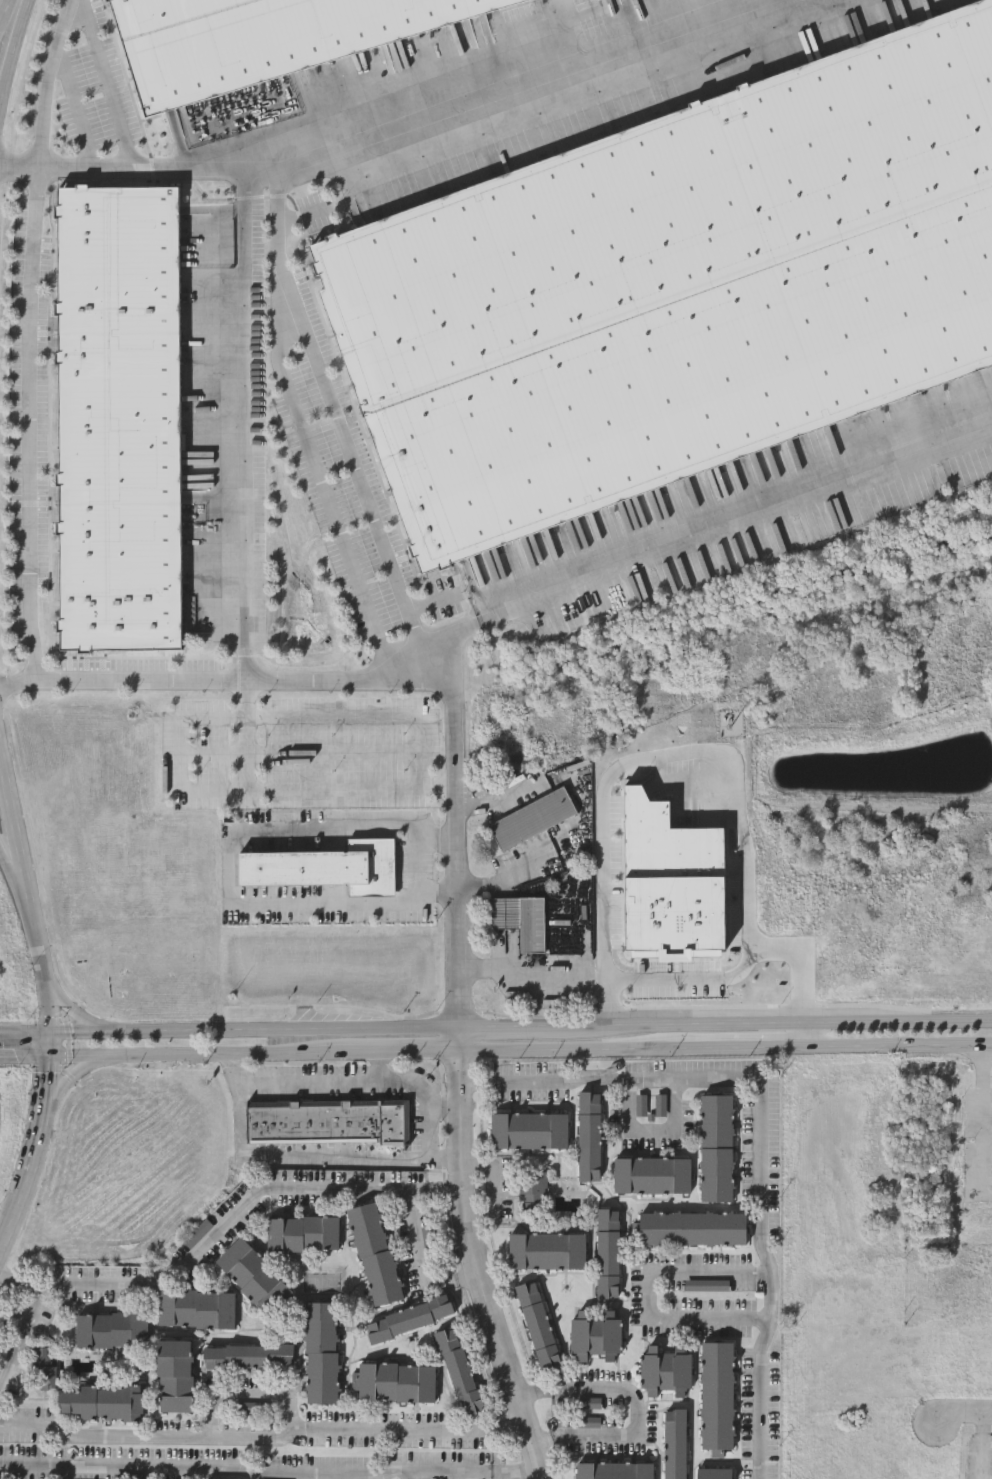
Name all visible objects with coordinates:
road: (752, 3)
road: (8, 17)
building: (260, 38)
road: (14, 53)
road: (105, 84)
road: (77, 111)
road: (393, 124)
building: (677, 286)
road: (333, 409)
building: (119, 417)
road: (243, 425)
road: (322, 485)
road: (223, 681)
road: (20, 683)
road: (246, 699)
road: (349, 715)
road: (196, 718)
road: (246, 734)
road: (642, 757)
road: (181, 764)
building: (532, 817)
road: (444, 836)
road: (452, 855)
road: (415, 862)
road: (234, 865)
building: (325, 866)
road: (505, 876)
road: (443, 889)
road: (28, 900)
building: (519, 918)
road: (24, 923)
road: (747, 958)
road: (529, 969)
road: (772, 1018)
road: (82, 1023)
road: (503, 1027)
road: (293, 1032)
road: (94, 1036)
road: (27, 1038)
traffic signals: (54, 1038)
road: (557, 1048)
road: (53, 1050)
road: (88, 1059)
road: (26, 1062)
traffic signals: (53, 1062)
road: (310, 1077)
road: (558, 1078)
road: (74, 1079)
road: (472, 1084)
road: (405, 1089)
road: (48, 1092)
road: (986, 1115)
building: (327, 1121)
road: (629, 1123)
building: (528, 1129)
building: (588, 1134)
building: (715, 1146)
road: (298, 1154)
road: (29, 1160)
building: (651, 1174)
road: (494, 1185)
road: (444, 1188)
building: (534, 1189)
road: (8, 1220)
building: (692, 1226)
building: (302, 1231)
road: (761, 1241)
building: (546, 1248)
building: (607, 1250)
building: (374, 1251)
road: (192, 1252)
road: (473, 1258)
road: (422, 1260)
building: (253, 1274)
road: (12, 1276)
road: (31, 1285)
road: (651, 1295)
building: (195, 1306)
building: (408, 1316)
building: (537, 1322)
building: (110, 1327)
building: (595, 1333)
building: (320, 1349)
building: (247, 1354)
building: (42, 1365)
building: (665, 1368)
building: (458, 1369)
building: (173, 1373)
building: (394, 1380)
road: (244, 1393)
building: (717, 1394)
building: (99, 1400)
building: (590, 1402)
road: (633, 1414)
road: (964, 1418)
road: (262, 1436)
building: (674, 1442)
road: (981, 1448)
building: (614, 1469)
road: (246, 1470)
road: (514, 1470)
building: (713, 1472)
road: (406, 1473)
road: (450, 1474)

